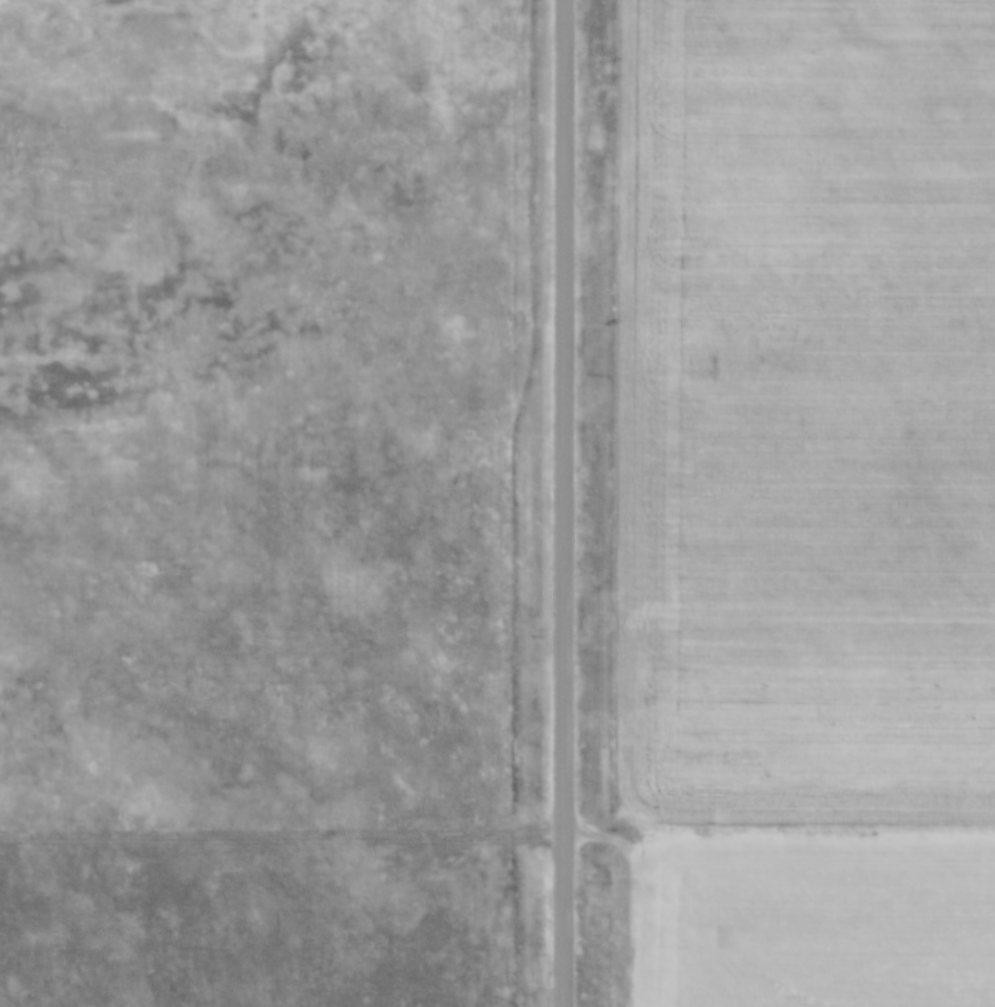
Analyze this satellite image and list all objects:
road: (573, 503)
road: (286, 835)

